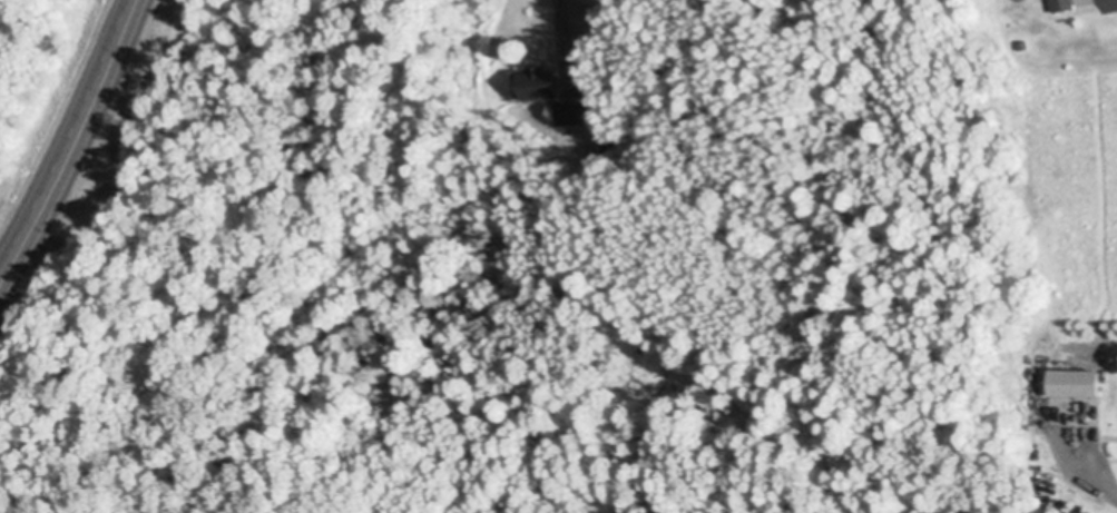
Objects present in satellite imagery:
road: (560, 30)
road: (75, 142)
road: (1098, 479)

